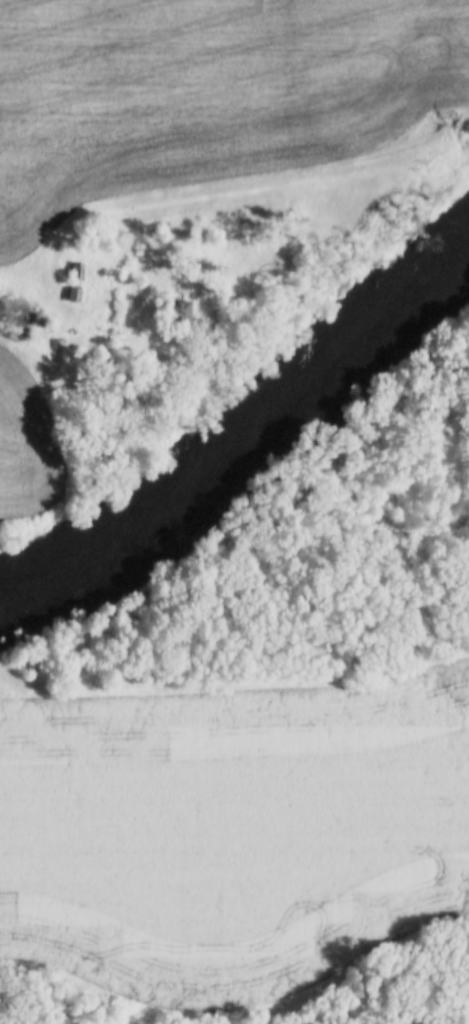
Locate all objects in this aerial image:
road: (276, 181)
building: (73, 272)
building: (70, 293)
building: (170, 313)
river: (238, 428)

